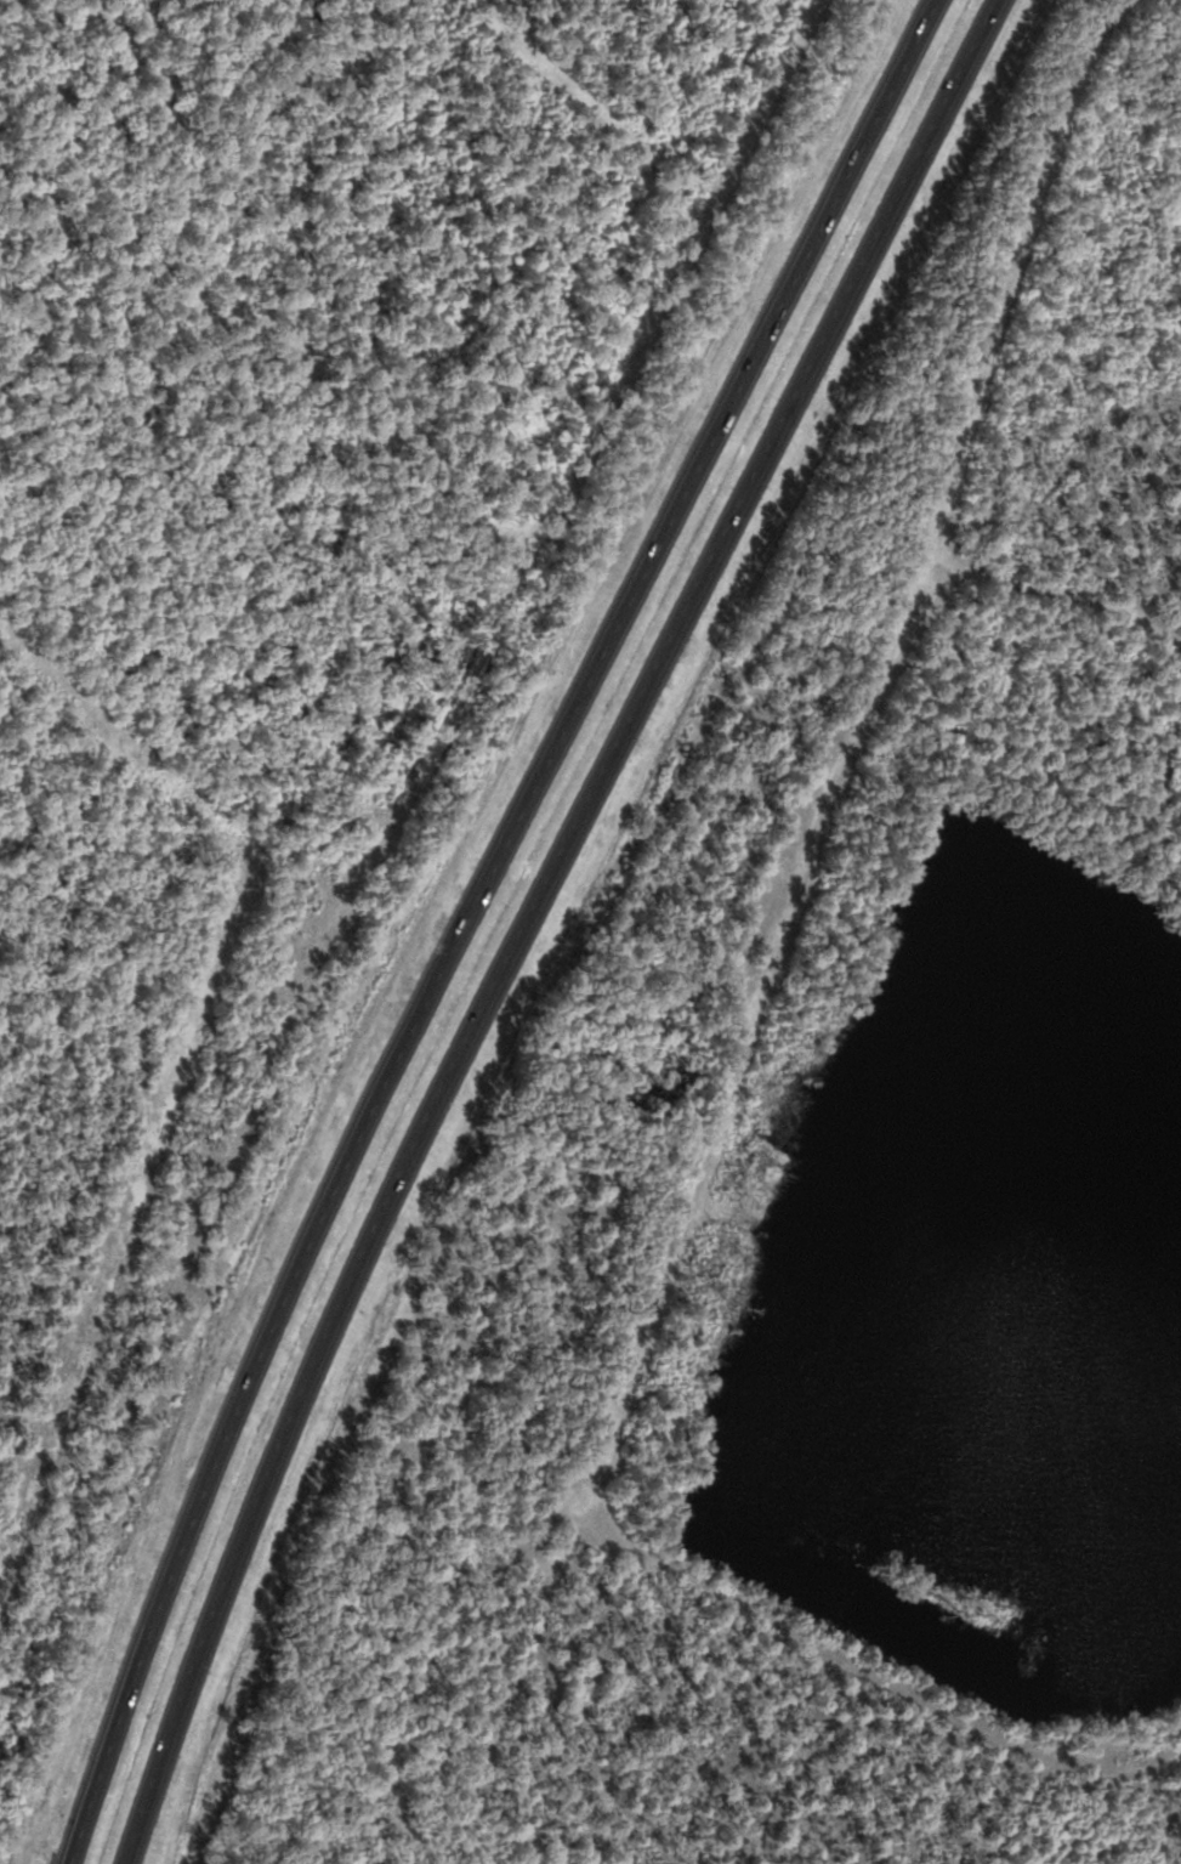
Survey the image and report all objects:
road: (1056, 594)
road: (838, 754)
road: (469, 917)
road: (526, 917)

